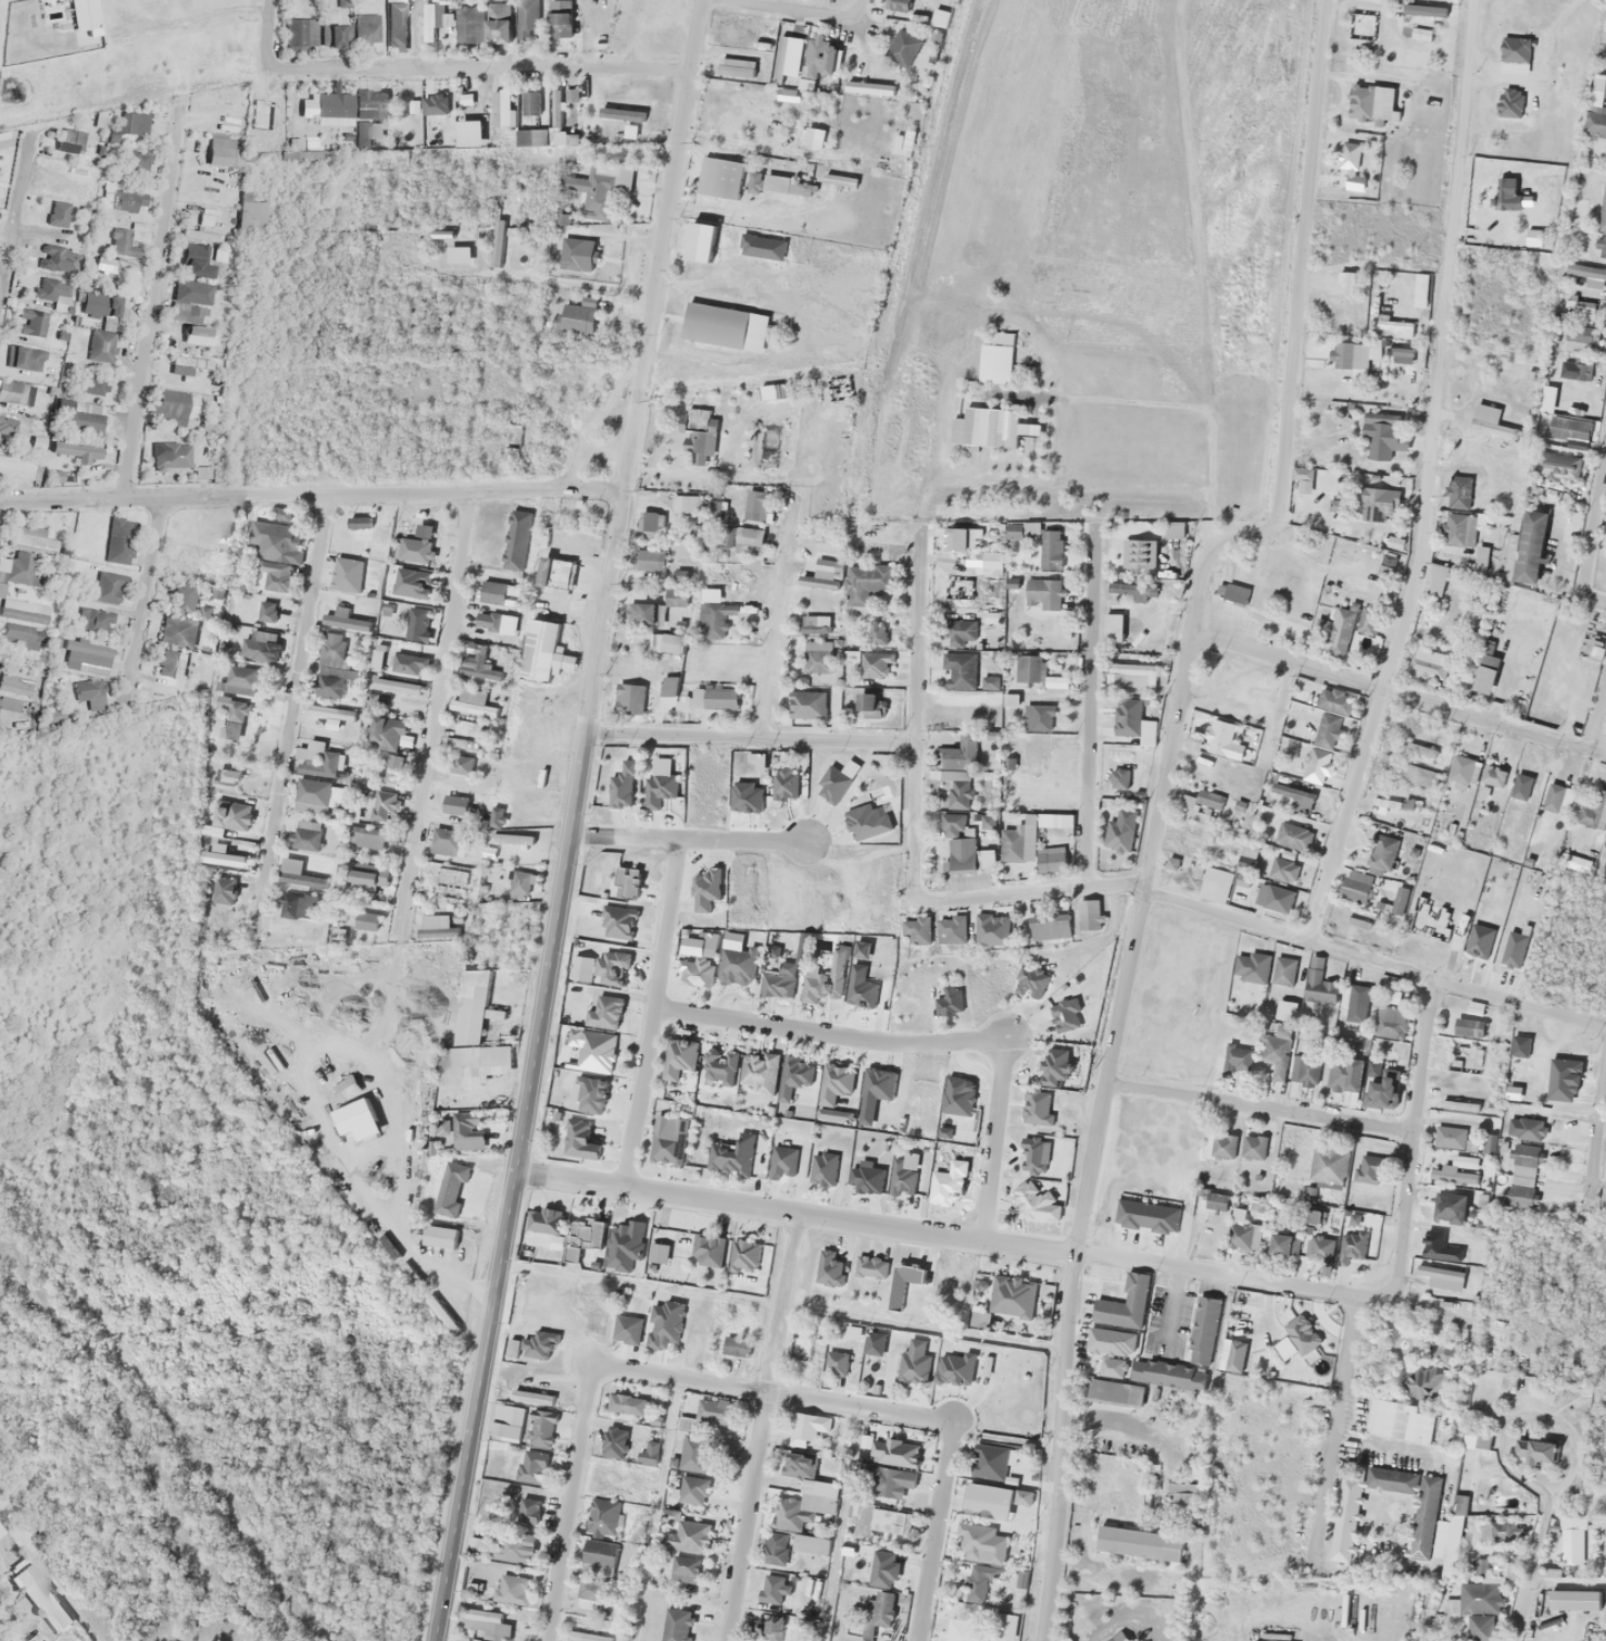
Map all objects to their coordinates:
building: (898, 7)
road: (793, 10)
building: (527, 18)
building: (559, 20)
building: (499, 22)
building: (438, 23)
building: (470, 23)
building: (1359, 25)
building: (366, 28)
building: (396, 28)
building: (337, 29)
road: (266, 34)
building: (300, 34)
building: (902, 48)
building: (780, 60)
road: (477, 67)
building: (869, 87)
building: (466, 98)
building: (369, 102)
building: (531, 103)
building: (319, 107)
building: (503, 107)
building: (556, 107)
building: (368, 133)
building: (72, 140)
building: (1350, 154)
building: (719, 177)
building: (595, 192)
building: (117, 201)
road: (16, 211)
building: (58, 213)
building: (248, 215)
building: (118, 241)
building: (577, 253)
building: (218, 254)
building: (193, 256)
building: (59, 259)
building: (1585, 274)
building: (51, 291)
road: (152, 302)
building: (99, 304)
building: (578, 316)
building: (33, 322)
building: (715, 325)
building: (1580, 338)
building: (100, 345)
building: (1352, 354)
building: (25, 358)
building: (189, 361)
building: (85, 381)
building: (775, 391)
building: (14, 392)
building: (174, 406)
building: (79, 415)
building: (1489, 421)
building: (979, 425)
building: (1569, 428)
building: (1383, 435)
building: (701, 441)
building: (78, 451)
building: (201, 453)
building: (172, 455)
building: (1558, 465)
building: (15, 466)
road: (1427, 475)
building: (1458, 491)
road: (311, 494)
building: (688, 503)
building: (755, 504)
building: (1378, 504)
building: (359, 521)
building: (1174, 531)
road: (1591, 531)
building: (35, 533)
building: (726, 536)
building: (959, 539)
building: (117, 540)
building: (749, 540)
building: (1395, 543)
building: (1530, 546)
building: (415, 549)
building: (1051, 549)
building: (649, 560)
building: (991, 562)
building: (1388, 563)
building: (20, 569)
building: (821, 573)
building: (273, 574)
building: (347, 574)
building: (555, 575)
building: (1435, 579)
building: (867, 581)
building: (411, 583)
building: (108, 586)
building: (626, 591)
building: (498, 592)
building: (1129, 592)
building: (1043, 593)
building: (674, 594)
road: (145, 597)
building: (267, 611)
building: (715, 613)
building: (644, 614)
road: (777, 615)
building: (343, 618)
building: (92, 619)
building: (497, 622)
building: (417, 623)
building: (1350, 623)
building: (178, 629)
building: (958, 631)
building: (21, 638)
building: (1593, 639)
building: (673, 642)
building: (818, 644)
building: (260, 646)
building: (543, 651)
building: (86, 653)
building: (852, 656)
building: (378, 657)
building: (168, 662)
building: (1426, 662)
building: (406, 663)
building: (875, 664)
building: (468, 666)
building: (334, 667)
building: (958, 671)
building: (1036, 672)
building: (1130, 674)
building: (1484, 674)
building: (242, 679)
building: (14, 684)
building: (397, 685)
building: (668, 685)
building: (89, 693)
road: (1396, 694)
road: (1089, 696)
building: (714, 697)
building: (629, 698)
building: (473, 702)
building: (807, 704)
building: (868, 704)
road: (292, 707)
road: (437, 707)
building: (333, 711)
building: (1039, 715)
building: (1128, 716)
road: (1597, 716)
building: (234, 718)
building: (1327, 732)
road: (755, 738)
building: (1228, 738)
building: (390, 746)
building: (317, 759)
building: (461, 764)
building: (1486, 774)
building: (957, 775)
building: (1421, 775)
building: (1233, 776)
building: (1118, 778)
building: (783, 781)
building: (1520, 786)
building: (661, 788)
building: (313, 793)
building: (744, 796)
building: (1293, 797)
building: (1554, 798)
building: (1208, 799)
road: (1163, 800)
building: (455, 804)
building: (385, 805)
building: (1595, 809)
building: (238, 815)
building: (495, 816)
road: (570, 820)
building: (862, 822)
road: (913, 825)
building: (1121, 829)
building: (308, 835)
building: (366, 838)
building: (511, 838)
building: (1292, 838)
building: (447, 841)
road: (686, 841)
building: (958, 842)
building: (1029, 843)
building: (1381, 852)
building: (224, 856)
building: (1247, 856)
building: (1051, 859)
building: (1284, 869)
building: (368, 874)
building: (302, 879)
building: (629, 882)
building: (1355, 887)
building: (224, 889)
building: (1275, 897)
building: (298, 907)
building: (701, 907)
building: (1088, 915)
building: (366, 919)
building: (618, 922)
building: (1357, 922)
building: (1049, 926)
building: (437, 927)
building: (952, 929)
building: (992, 929)
building: (916, 930)
building: (1514, 949)
road: (1376, 954)
building: (701, 963)
building: (738, 965)
building: (611, 966)
building: (1251, 966)
building: (1283, 970)
building: (785, 978)
building: (1319, 986)
building: (812, 987)
building: (861, 987)
building: (1355, 1002)
building: (605, 1014)
road: (654, 1016)
building: (1391, 1022)
building: (1460, 1026)
road: (829, 1035)
building: (597, 1050)
building: (1277, 1051)
building: (679, 1060)
building: (1347, 1066)
building: (718, 1067)
building: (1305, 1068)
building: (760, 1072)
building: (817, 1086)
building: (348, 1088)
building: (1384, 1090)
road: (1259, 1093)
building: (468, 1129)
building: (1450, 1136)
building: (668, 1139)
building: (578, 1140)
road: (993, 1140)
road: (1414, 1142)
building: (1224, 1145)
road: (1602, 1153)
building: (732, 1155)
building: (1033, 1155)
building: (1328, 1164)
building: (1368, 1168)
building: (1457, 1170)
building: (867, 1179)
building: (451, 1188)
building: (1029, 1197)
building: (1212, 1204)
building: (1450, 1206)
building: (1146, 1214)
road: (792, 1215)
building: (1312, 1215)
building: (542, 1227)
building: (440, 1236)
building: (1239, 1236)
building: (584, 1237)
building: (624, 1247)
building: (708, 1250)
building: (658, 1252)
building: (744, 1254)
building: (830, 1269)
road: (1225, 1276)
building: (1439, 1277)
building: (1013, 1295)
building: (1125, 1304)
building: (664, 1324)
building: (626, 1329)
building: (536, 1344)
building: (736, 1345)
building: (803, 1345)
building: (1284, 1349)
road: (1377, 1354)
building: (1235, 1355)
building: (837, 1363)
building: (914, 1368)
building: (1427, 1377)
building: (1140, 1381)
road: (771, 1394)
building: (531, 1396)
building: (626, 1404)
building: (1402, 1420)
building: (507, 1421)
building: (685, 1424)
road: (761, 1428)
building: (1533, 1451)
building: (649, 1452)
building: (695, 1453)
building: (989, 1461)
building: (531, 1466)
building: (890, 1481)
building: (812, 1487)
building: (993, 1500)
road: (570, 1504)
building: (1459, 1504)
building: (528, 1510)
building: (603, 1516)
building: (863, 1519)
building: (1425, 1525)
building: (1498, 1530)
road: (934, 1531)
building: (1571, 1538)
building: (1139, 1542)
building: (810, 1543)
building: (982, 1543)
building: (512, 1546)
building: (775, 1546)
building: (685, 1548)
building: (599, 1556)
building: (882, 1567)
building: (500, 1588)
building: (593, 1596)
building: (1478, 1598)
building: (1573, 1600)
road: (1520, 1602)
building: (879, 1613)
building: (480, 1619)
building: (675, 1625)
building: (770, 1627)
building: (1480, 1627)
building: (963, 1630)
building: (587, 1633)
building: (1118, 1637)

